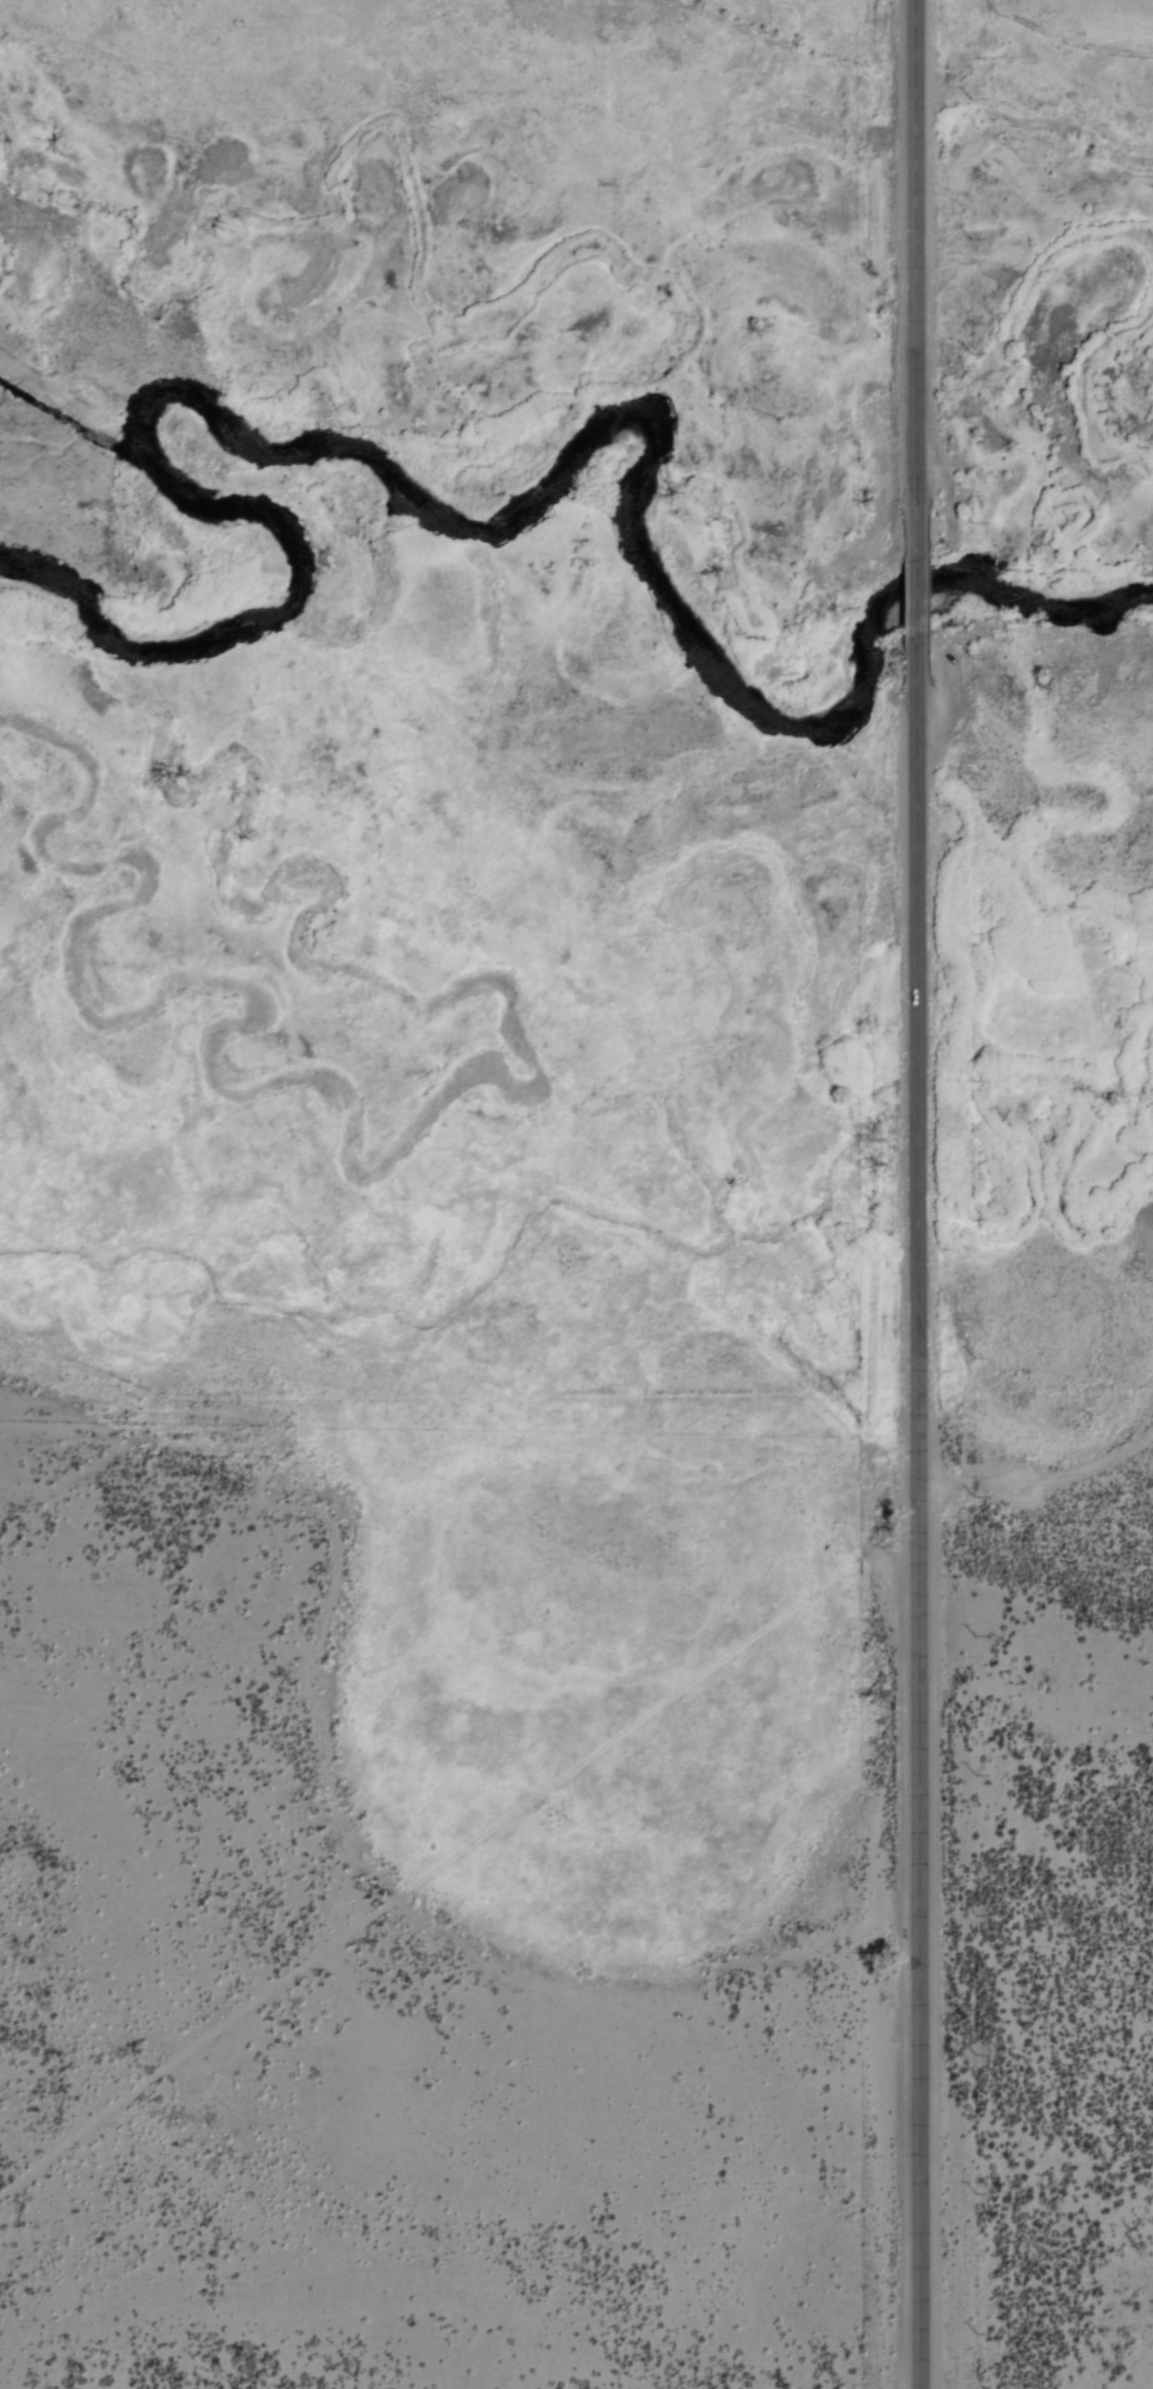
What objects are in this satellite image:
road: (914, 280)
river: (657, 562)
river: (256, 587)
road: (917, 610)
river: (59, 621)
road: (1038, 1477)
road: (916, 1523)
road: (449, 1863)

